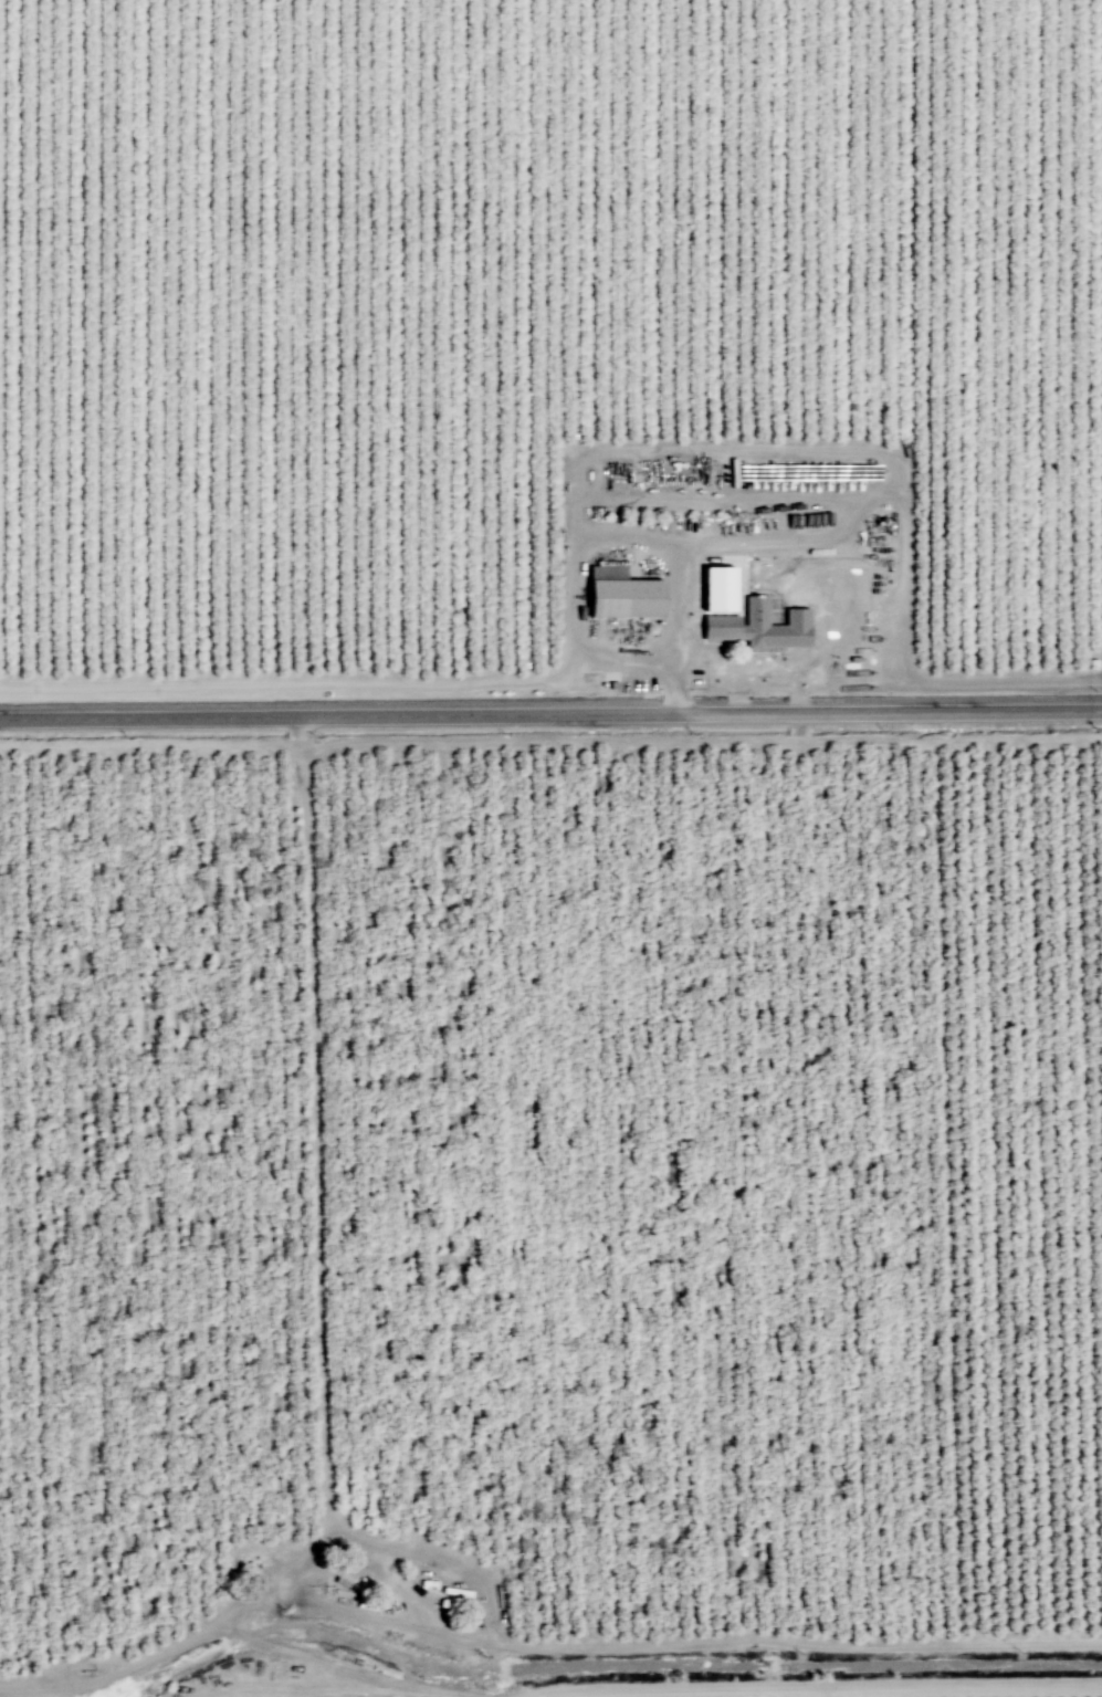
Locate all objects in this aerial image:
road: (723, 447)
road: (716, 496)
road: (851, 544)
road: (905, 548)
road: (575, 586)
building: (720, 589)
building: (625, 595)
road: (680, 601)
road: (1004, 681)
road: (301, 684)
road: (674, 684)
road: (550, 712)
road: (701, 740)
road: (150, 745)
road: (317, 1141)
road: (358, 1614)
road: (497, 1625)
road: (183, 1642)
road: (795, 1643)
road: (655, 1687)
road: (56, 1691)

